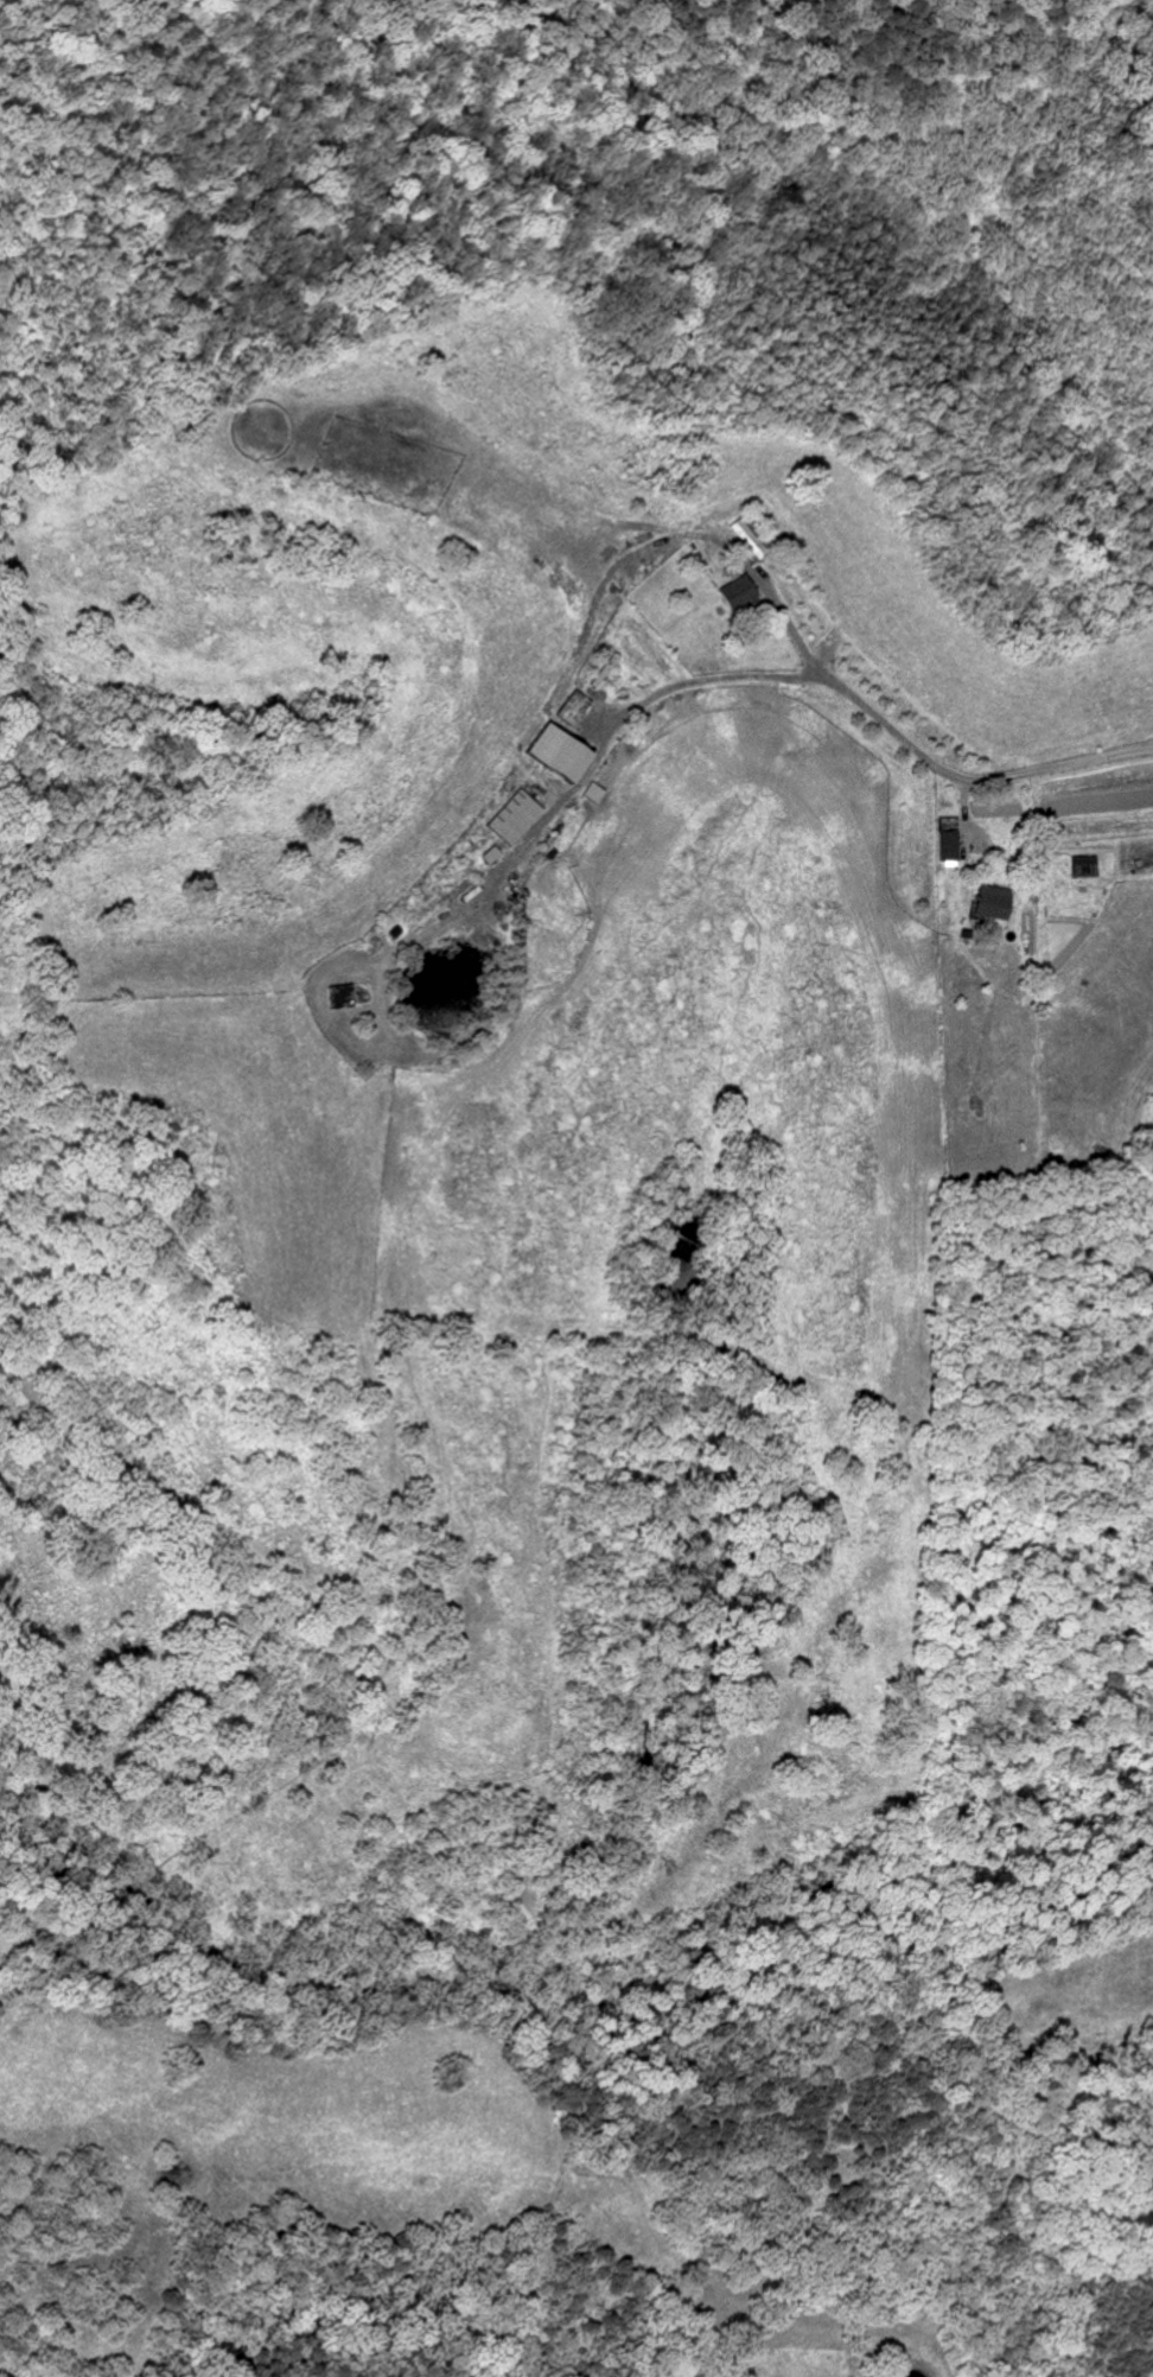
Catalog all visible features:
building: (745, 536)
building: (735, 593)
road: (786, 619)
building: (573, 708)
road: (617, 735)
building: (555, 754)
road: (972, 781)
building: (511, 818)
building: (945, 845)
building: (1082, 866)
building: (988, 902)
building: (332, 997)

